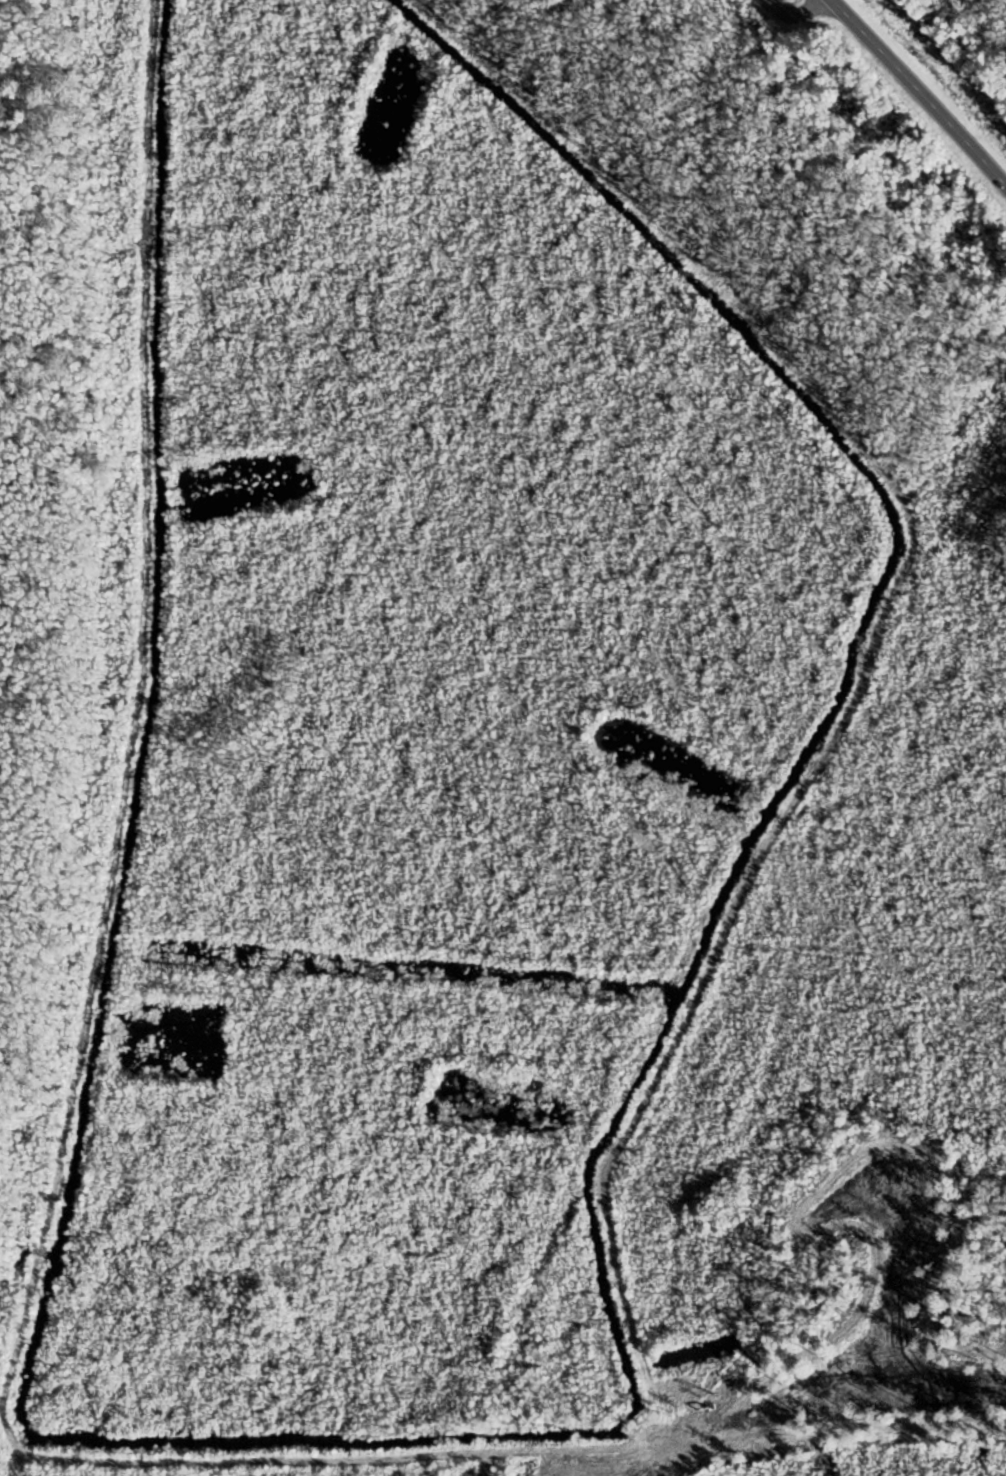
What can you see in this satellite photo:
road: (797, 12)
road: (926, 84)

